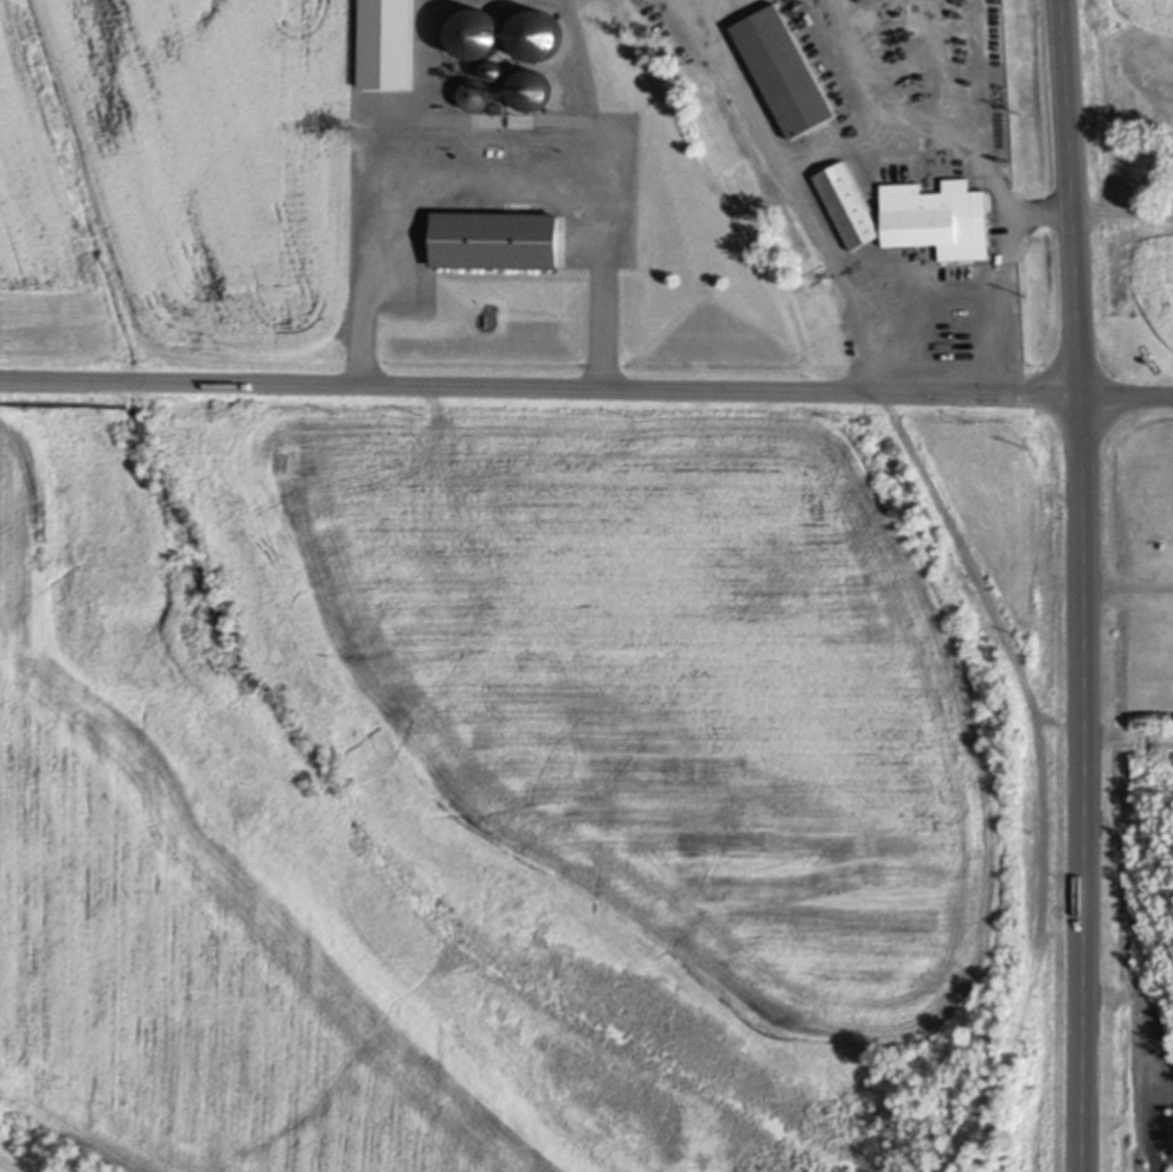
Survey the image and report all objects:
building: (480, 36)
building: (538, 36)
building: (788, 68)
building: (495, 72)
building: (533, 90)
building: (479, 94)
road: (803, 161)
building: (851, 201)
road: (1092, 207)
building: (941, 216)
building: (498, 239)
road: (932, 284)
road: (363, 292)
road: (603, 293)
road: (1002, 300)
road: (540, 385)
road: (1127, 392)
park: (1143, 570)
road: (1127, 584)
road: (1082, 585)
road: (12, 1164)

